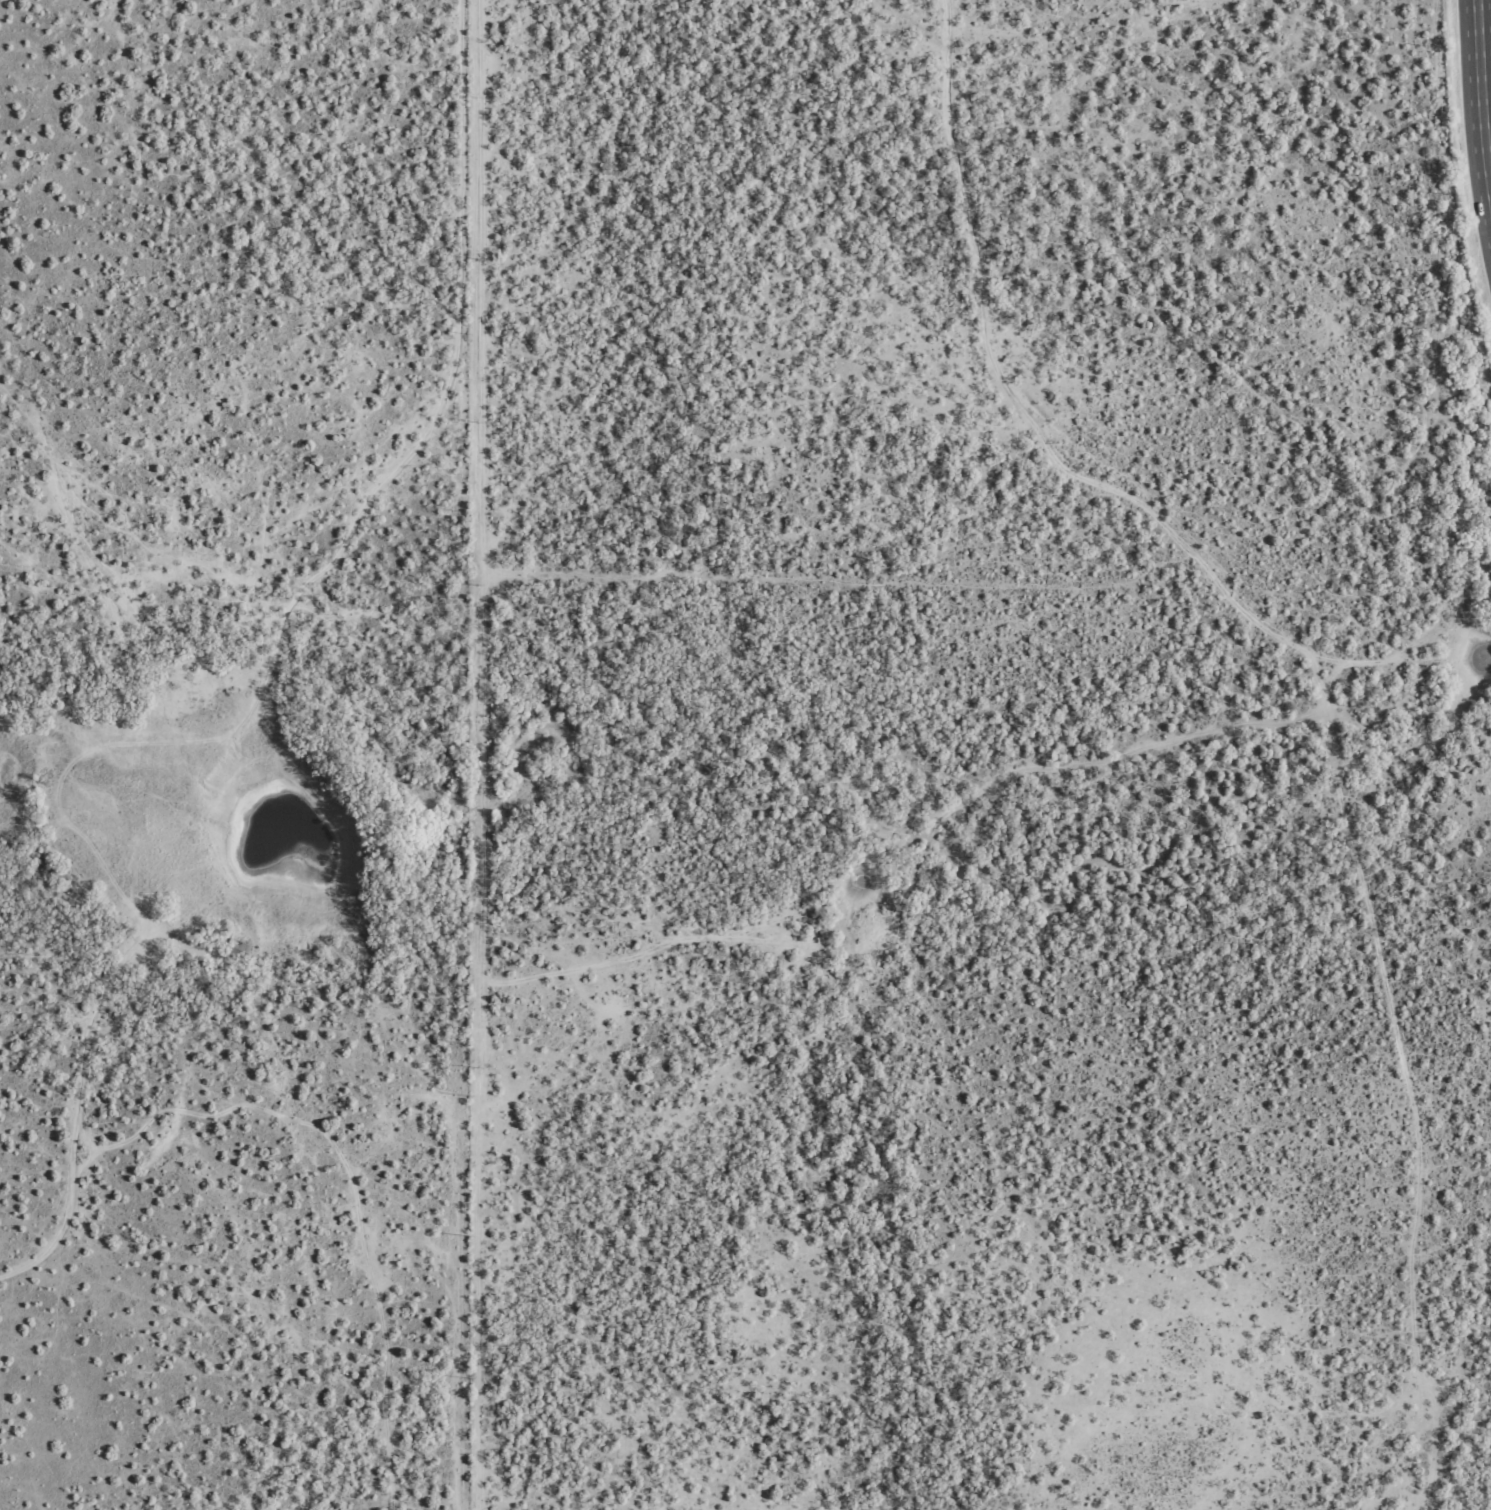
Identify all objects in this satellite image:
road: (1480, 99)

